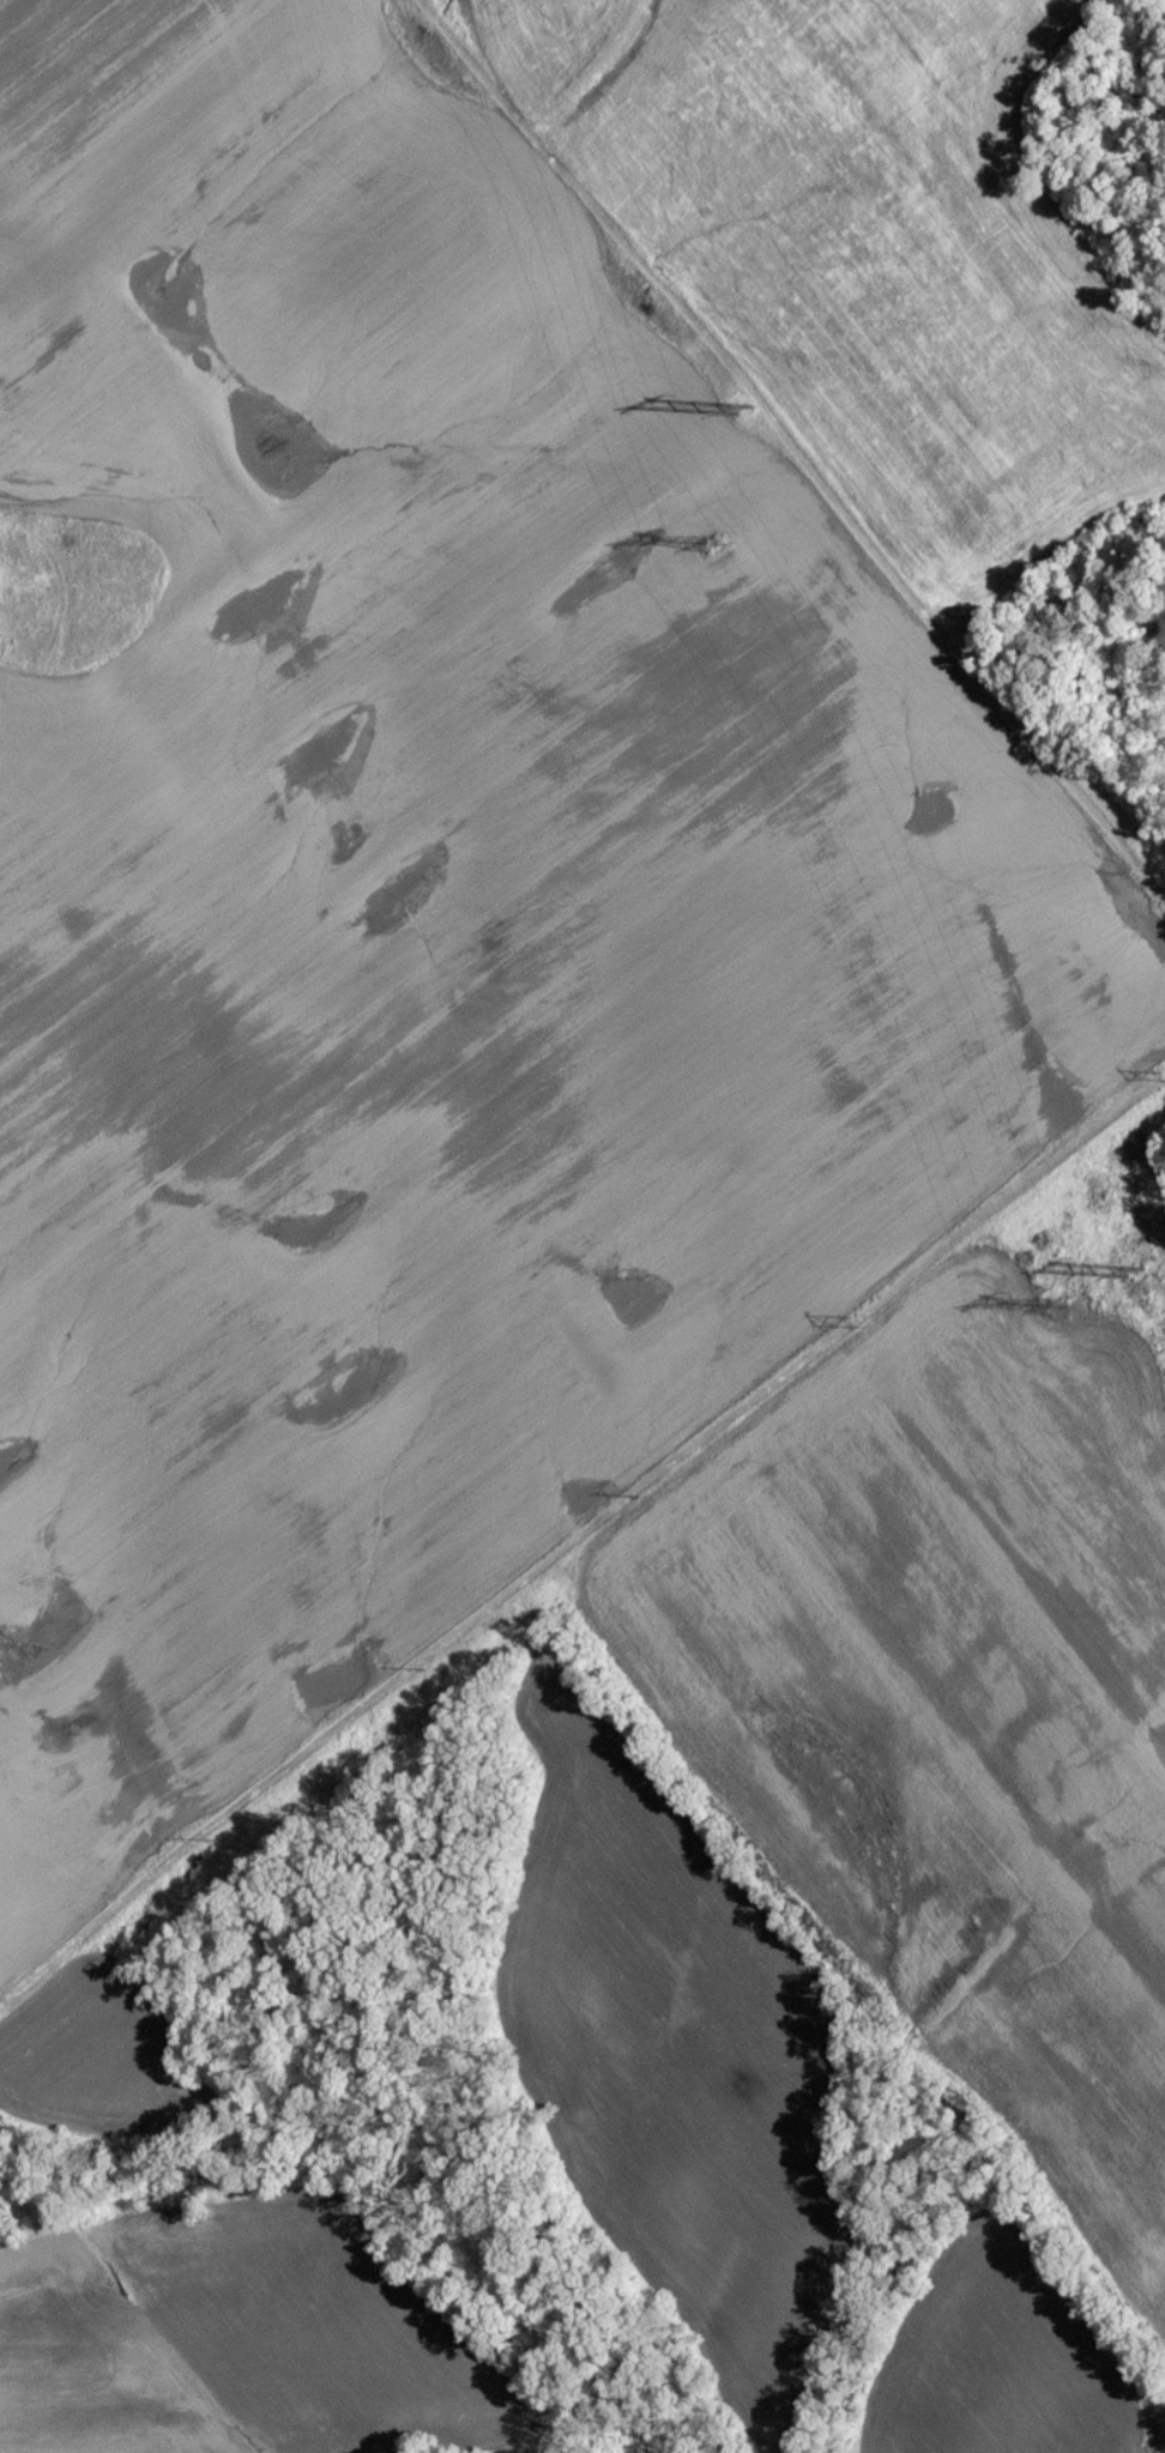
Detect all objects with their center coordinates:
power tower: (747, 418)
power tower: (716, 550)
power tower: (1137, 1279)
power tower: (1072, 1316)

